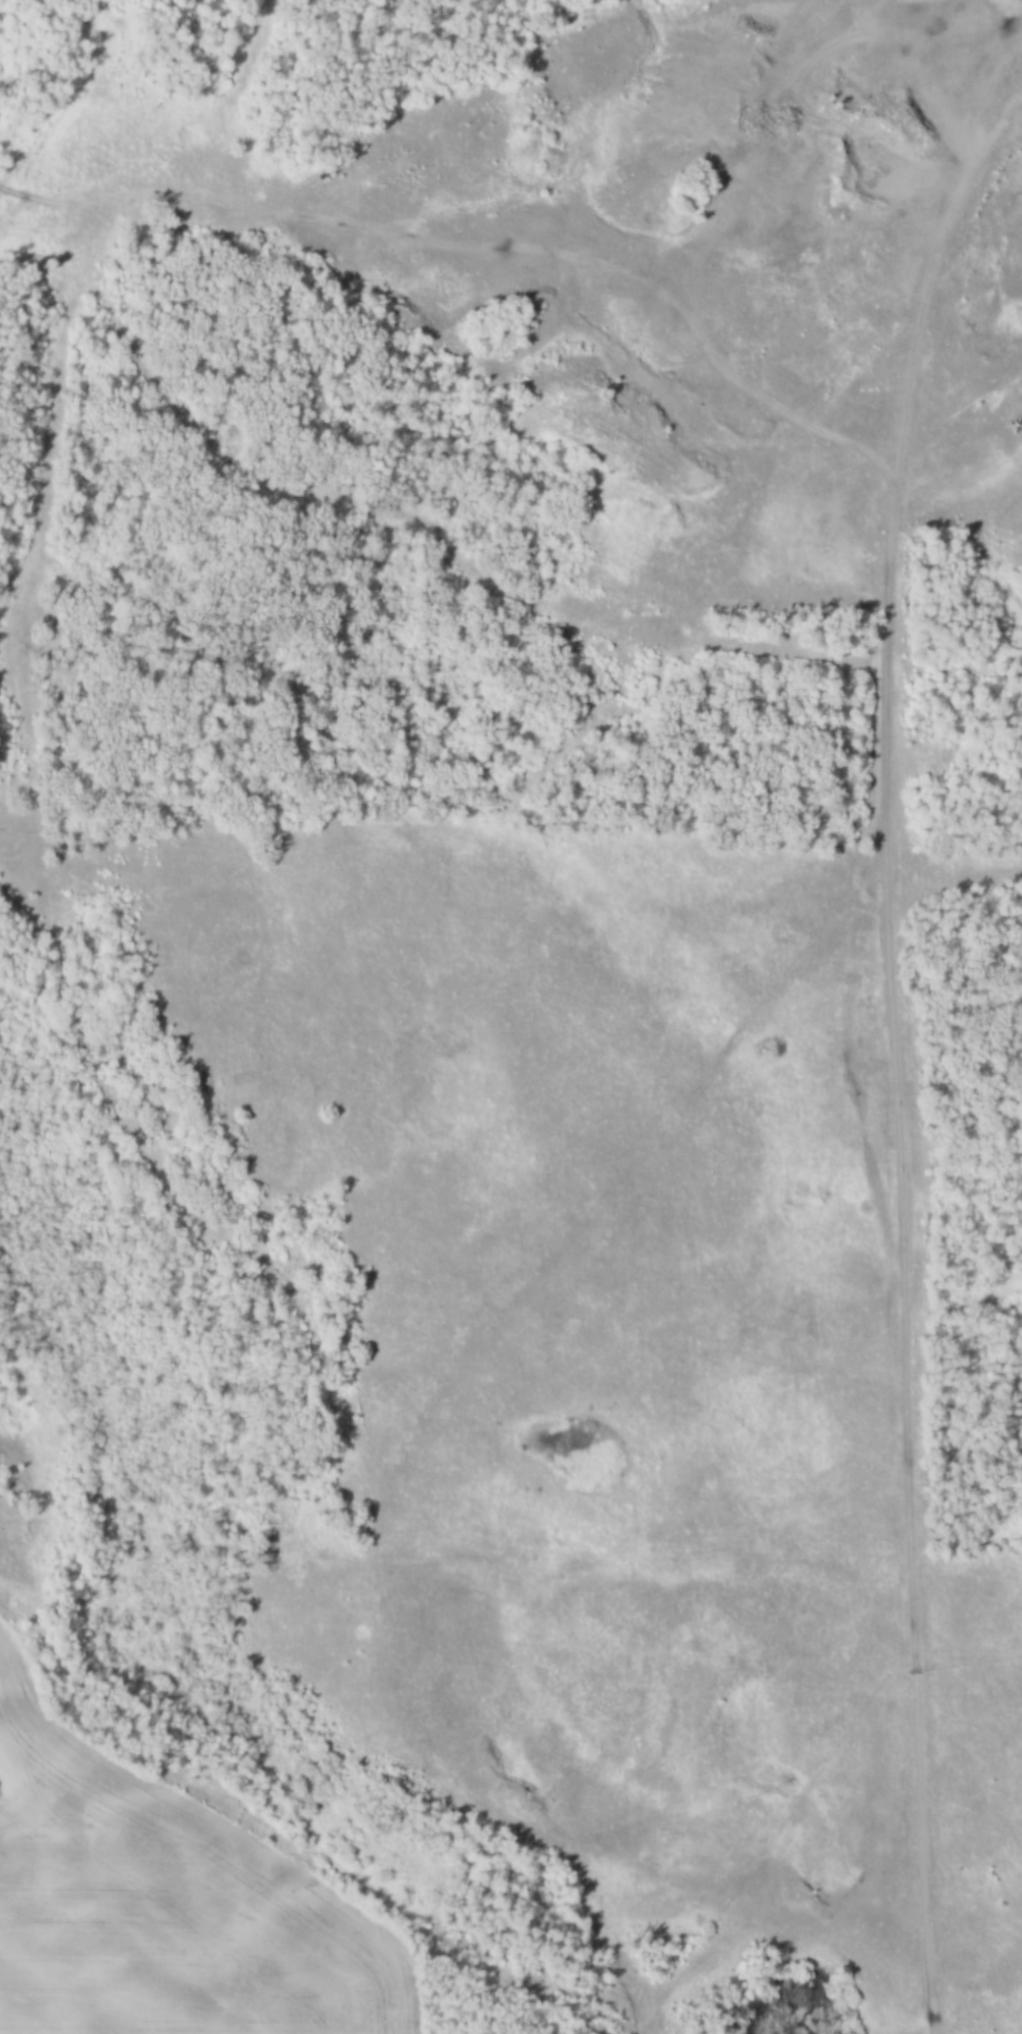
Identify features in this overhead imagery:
road: (45, 198)
quarry: (725, 236)
road: (901, 1054)
road: (161, 1178)

